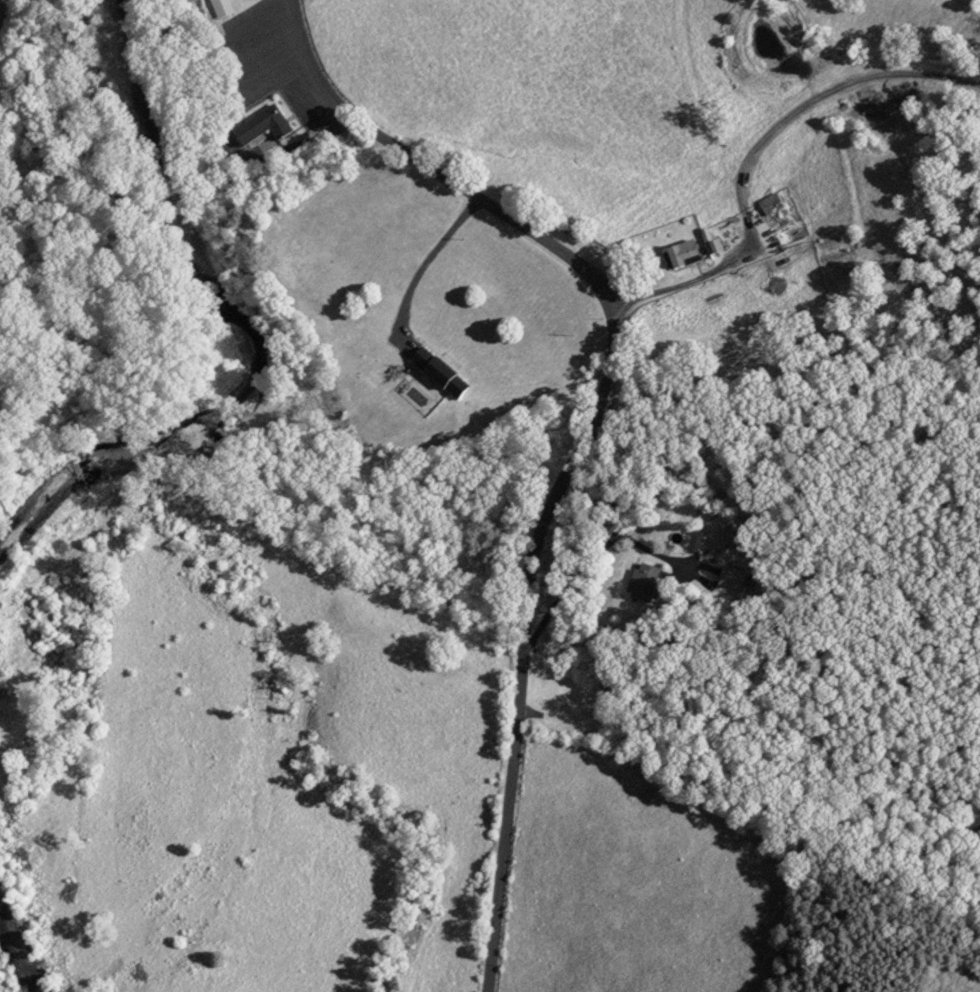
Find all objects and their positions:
building: (262, 127)
building: (772, 209)
building: (683, 254)
river: (249, 336)
building: (438, 373)
road: (587, 426)
building: (722, 536)
building: (731, 577)
river: (12, 966)

